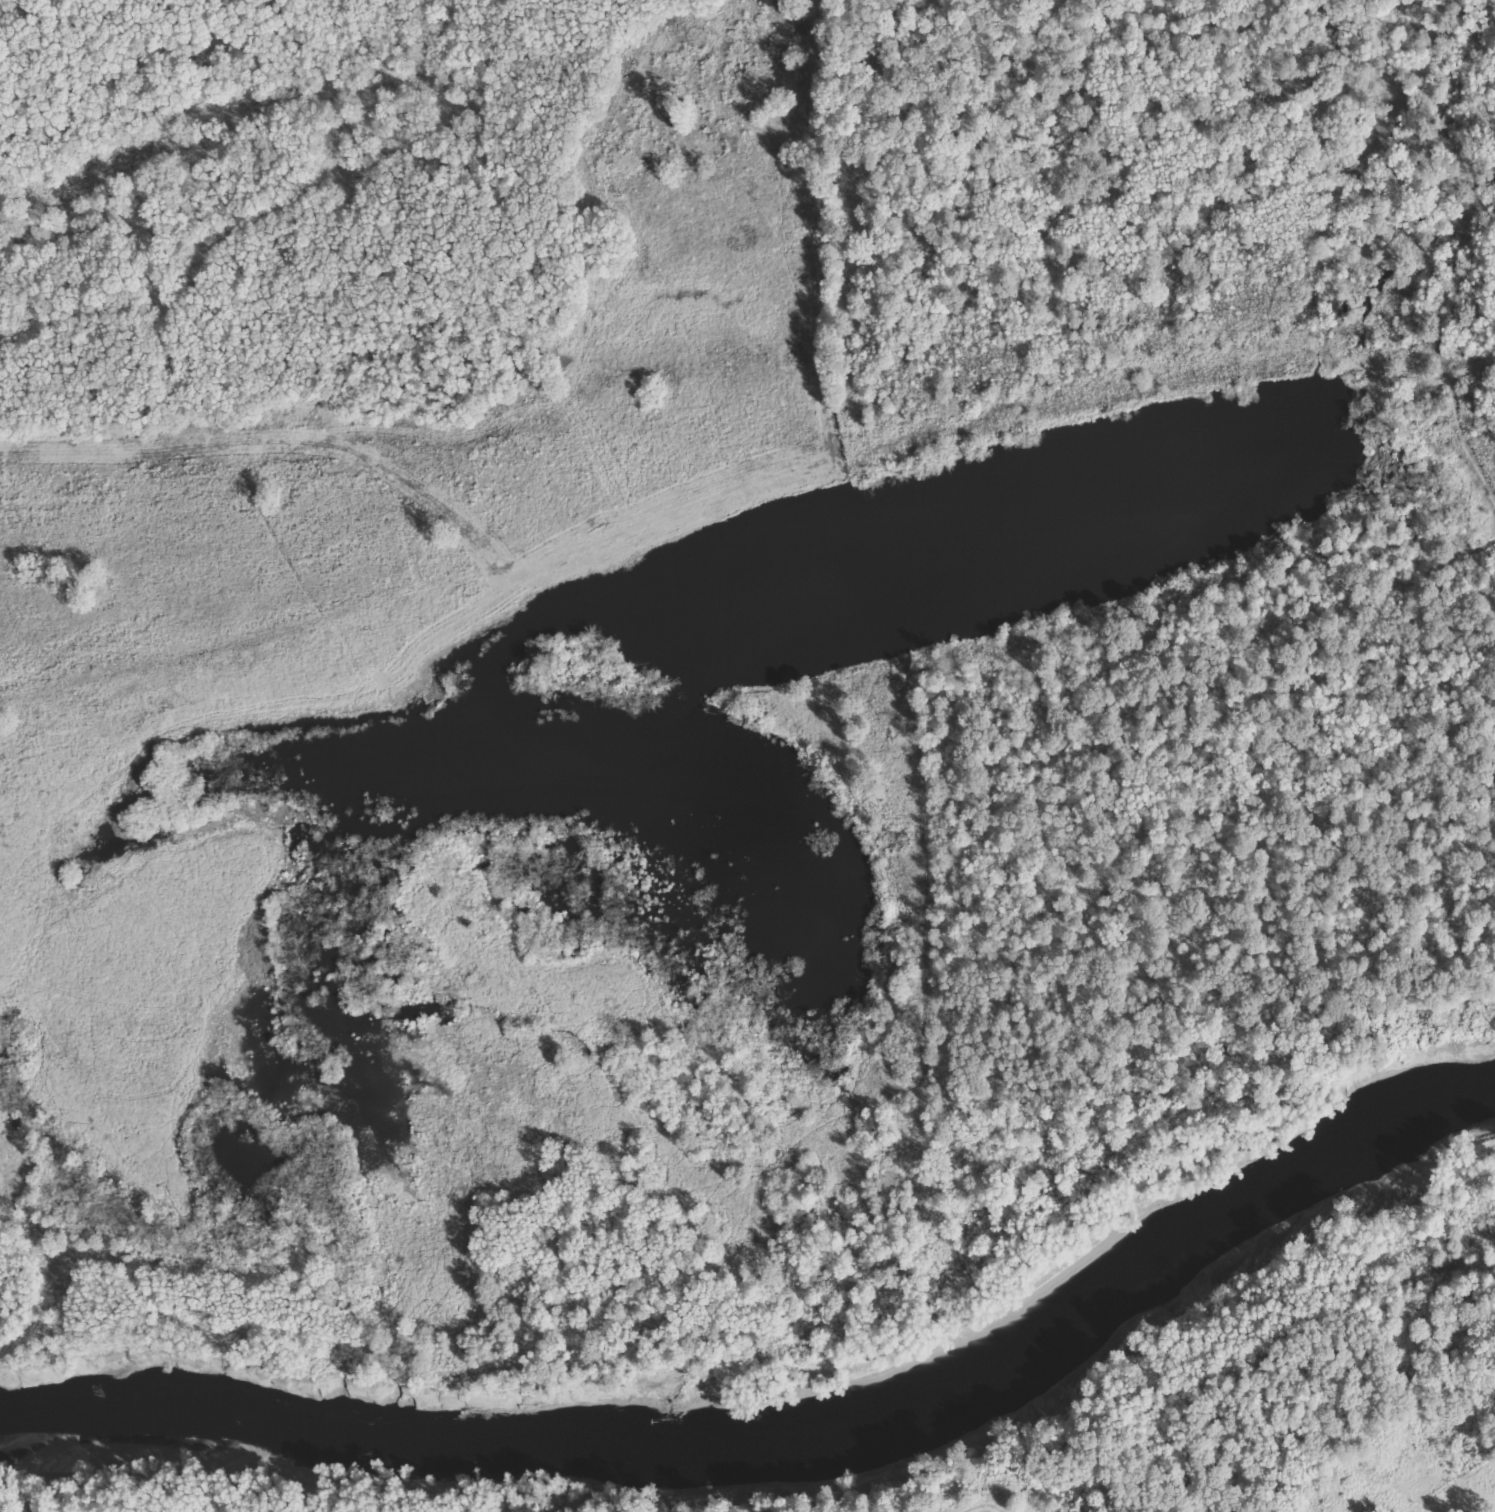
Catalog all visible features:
river: (787, 1420)

